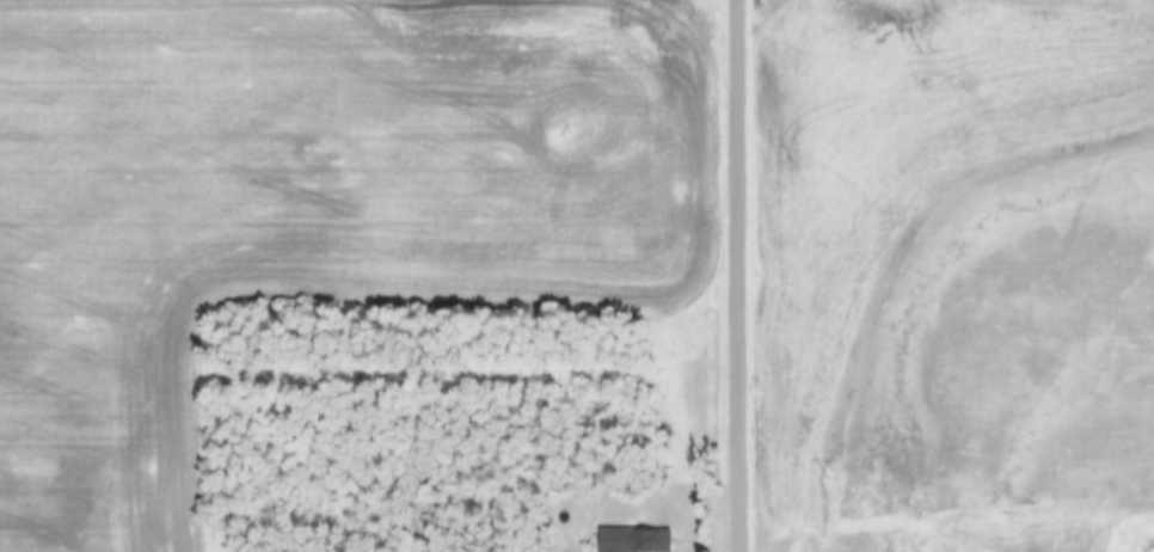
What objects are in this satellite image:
road: (738, 276)
power tower: (828, 474)
building: (634, 539)

